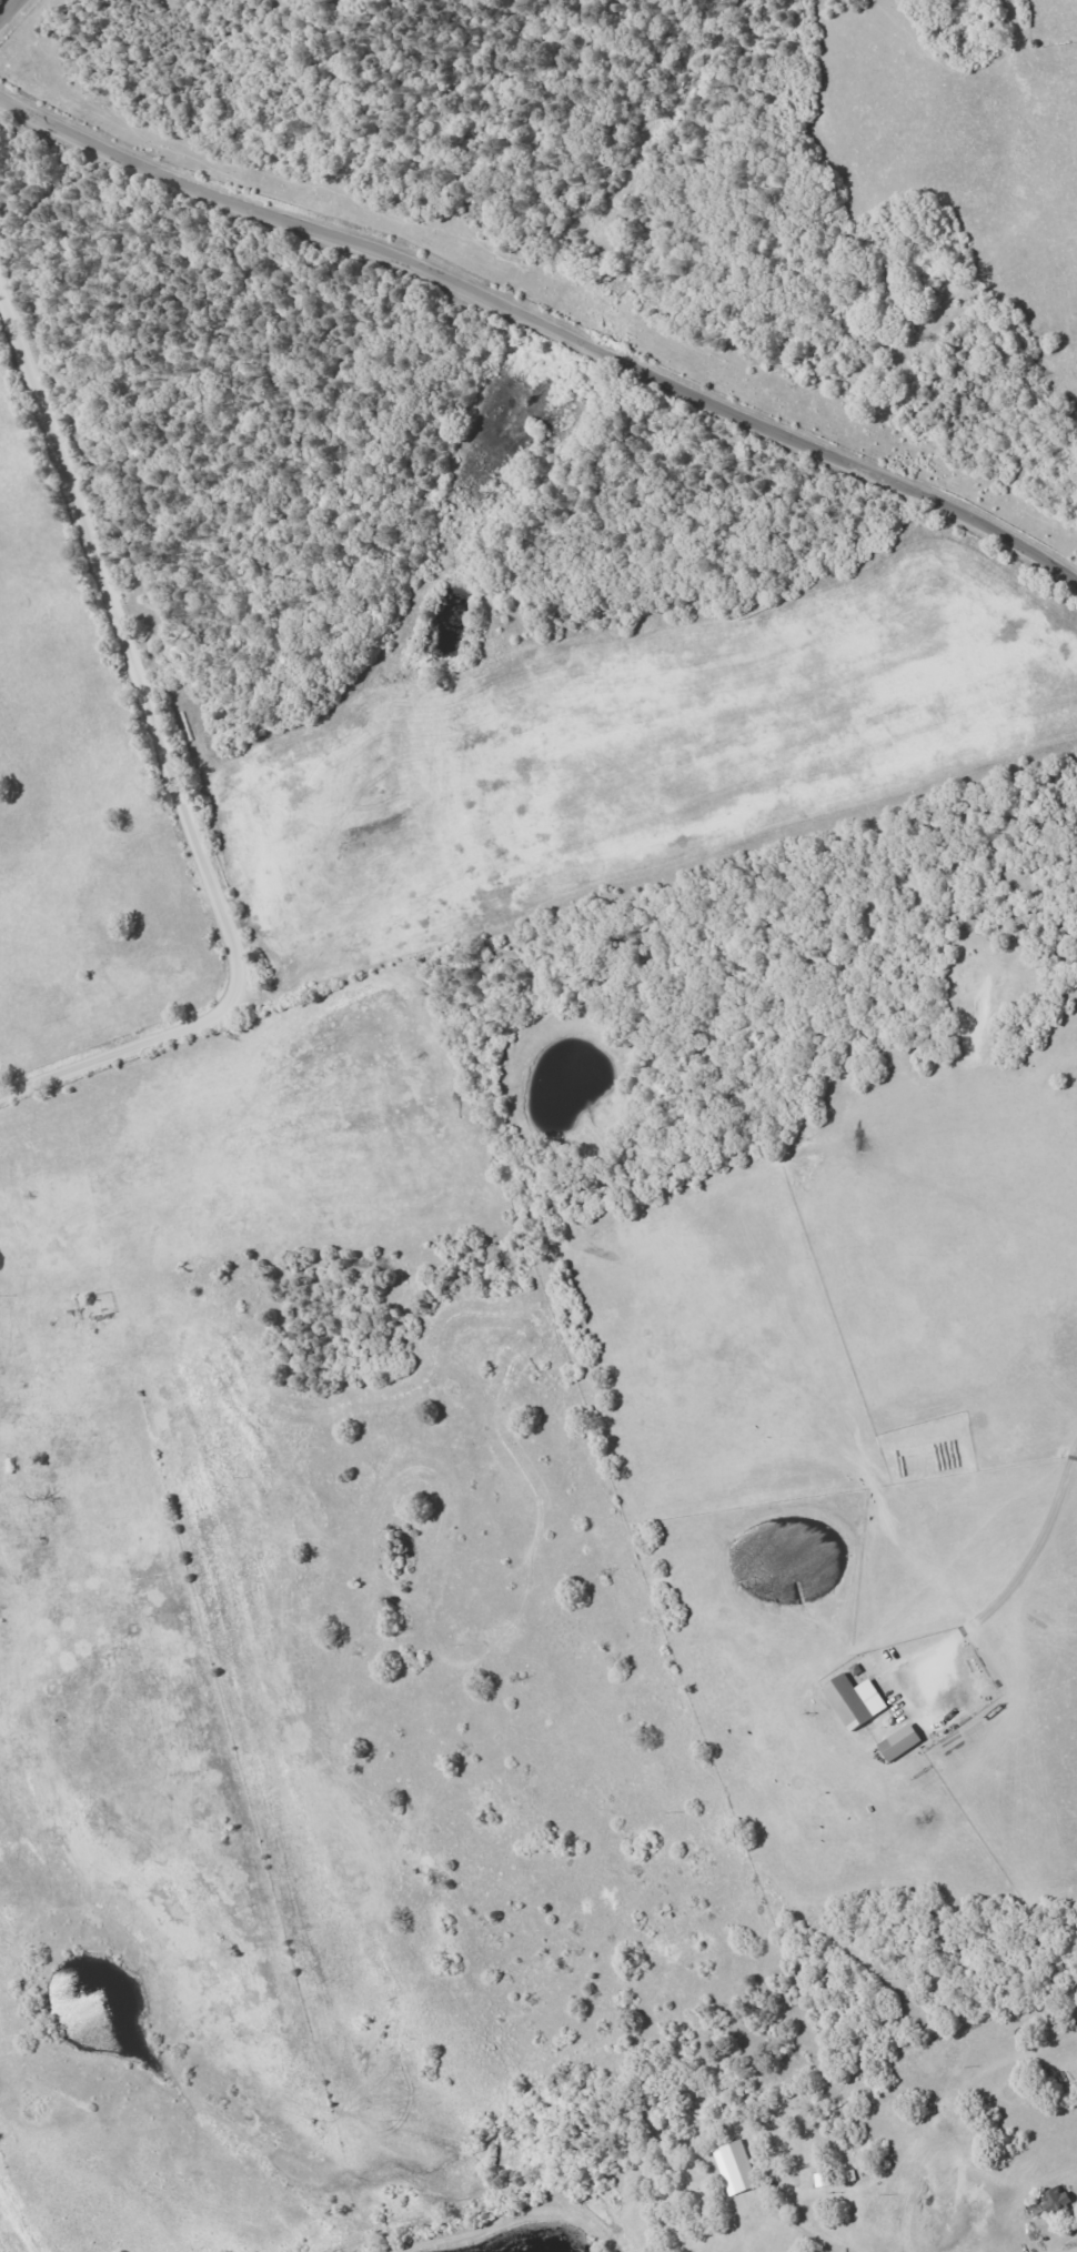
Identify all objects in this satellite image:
road: (9, 9)
road: (544, 329)
road: (169, 767)
road: (1036, 1549)
building: (850, 1700)
building: (896, 1742)
building: (733, 2168)
road: (791, 2231)

